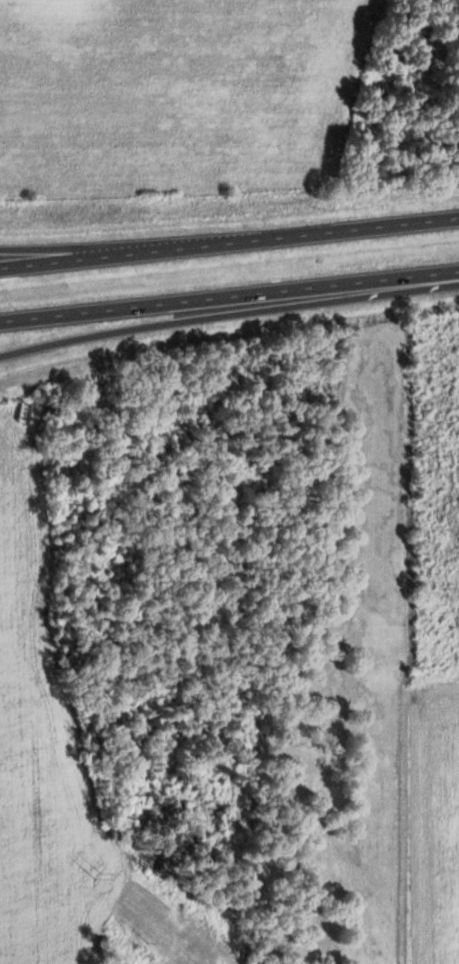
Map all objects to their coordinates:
road: (229, 243)
road: (74, 250)
road: (229, 296)
road: (229, 313)
power tower: (99, 871)

